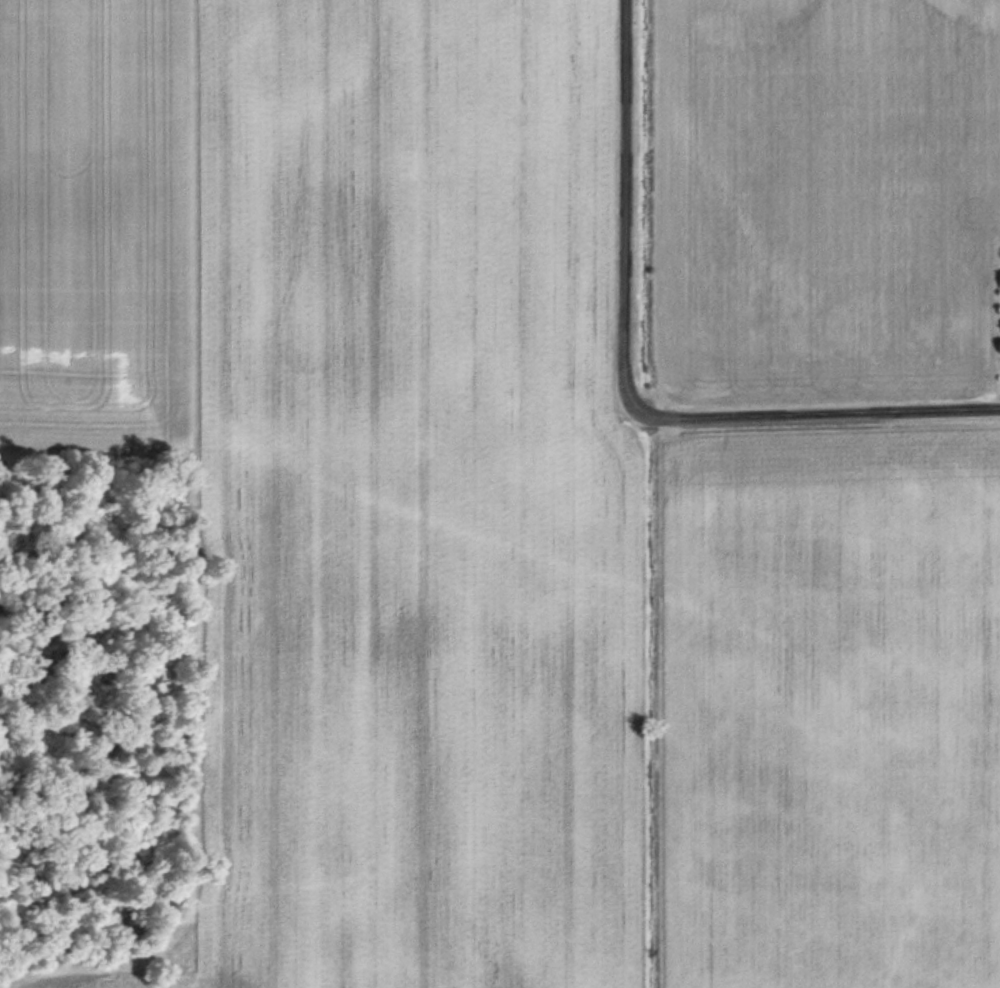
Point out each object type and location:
road: (623, 390)

